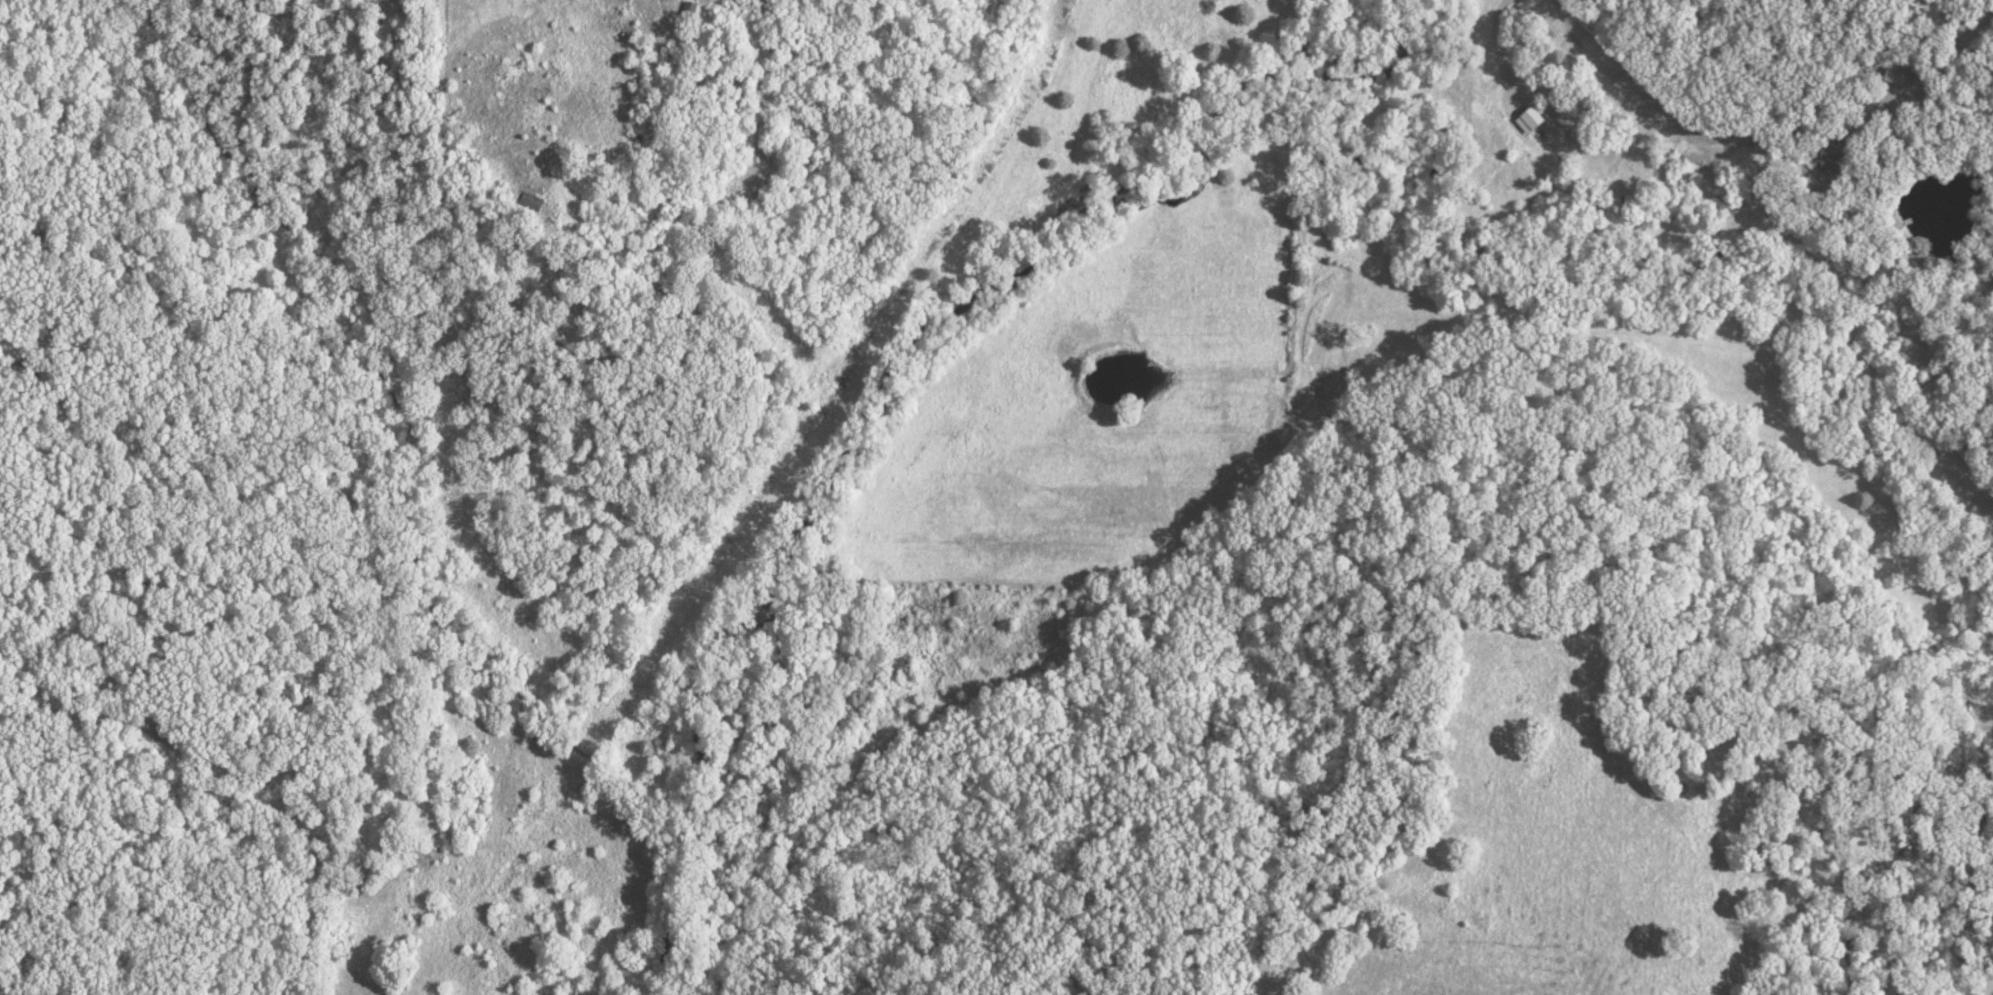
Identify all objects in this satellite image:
building: (688, 9)
road: (563, 67)
road: (1913, 71)
road: (762, 78)
building: (527, 201)
road: (185, 743)

